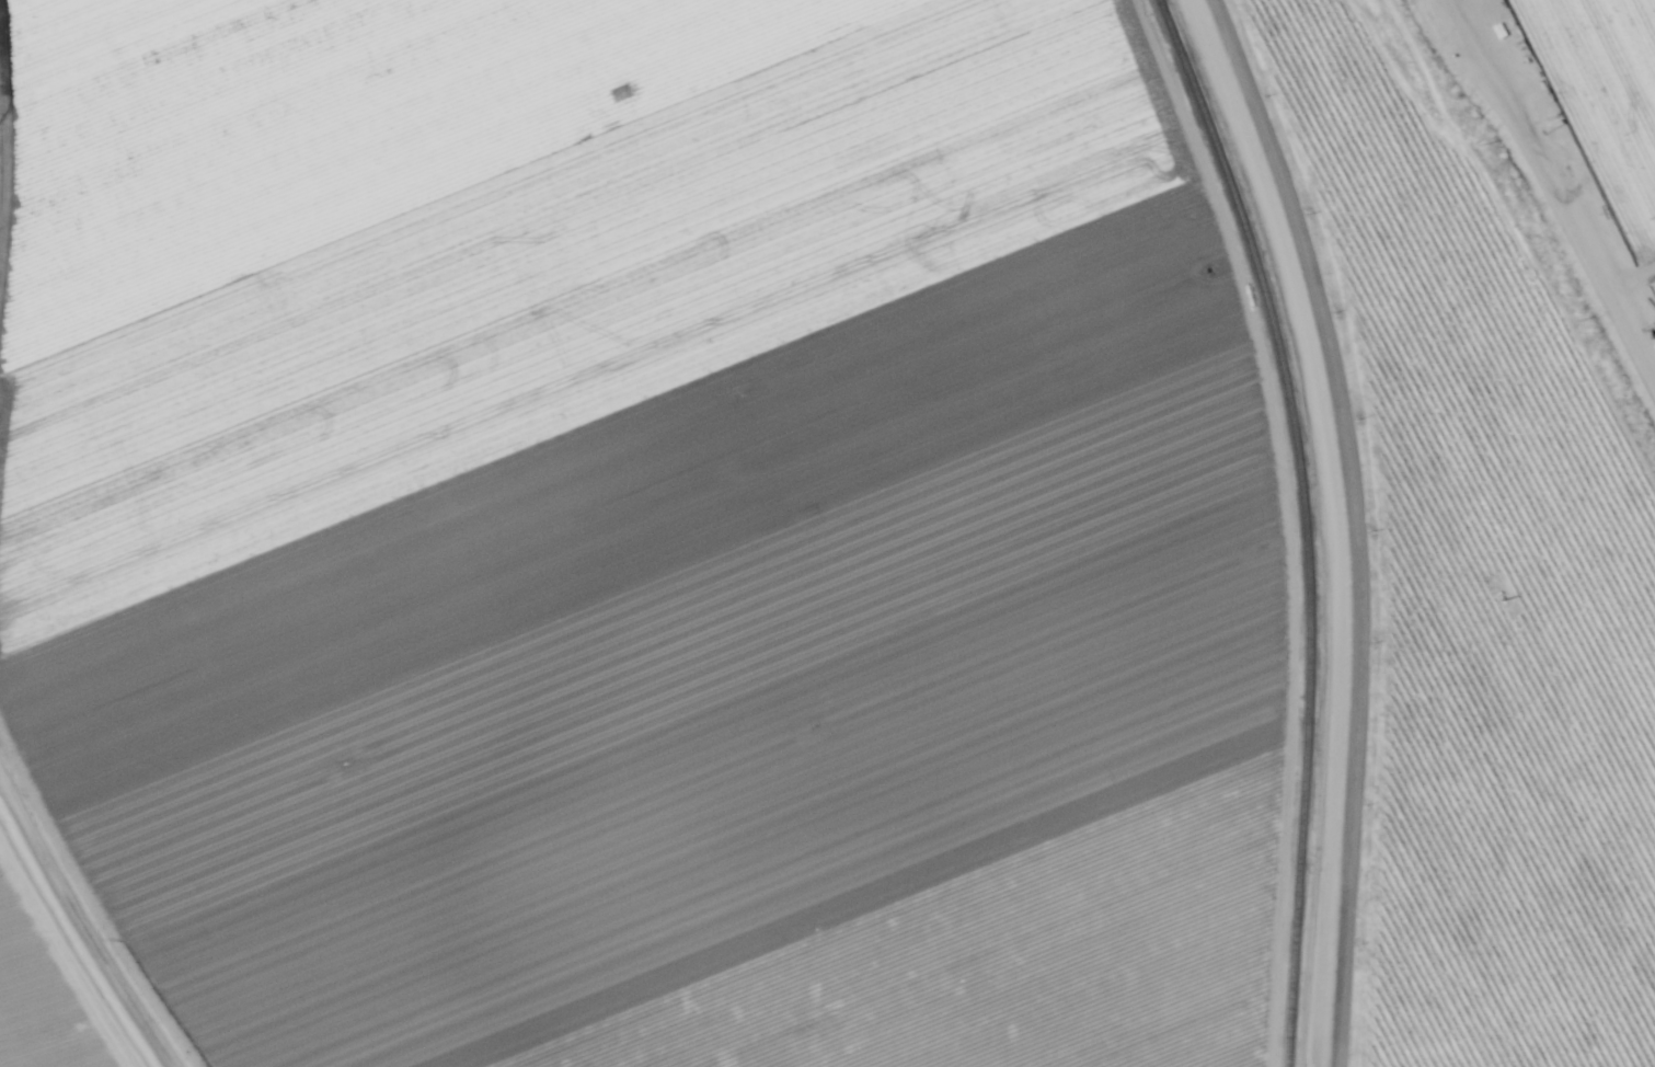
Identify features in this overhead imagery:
road: (44, 15)
railway: (1172, 30)
road: (1613, 137)
crop: (1499, 505)
road: (1357, 526)
crop: (617, 543)
railway: (1308, 554)
road: (50, 944)

